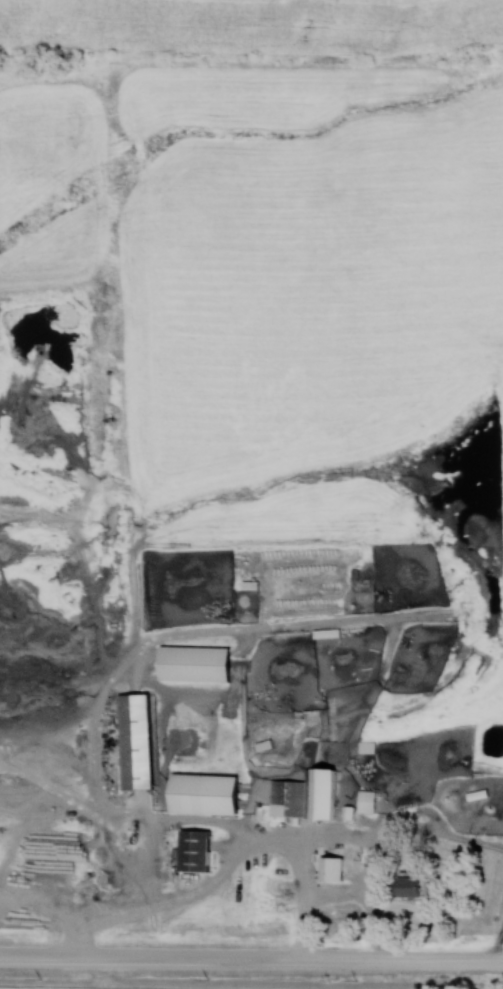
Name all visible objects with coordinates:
building: (325, 632)
building: (191, 663)
building: (133, 741)
building: (200, 793)
building: (475, 794)
building: (303, 795)
building: (365, 801)
building: (191, 850)
building: (328, 868)
building: (410, 886)
road: (251, 955)

